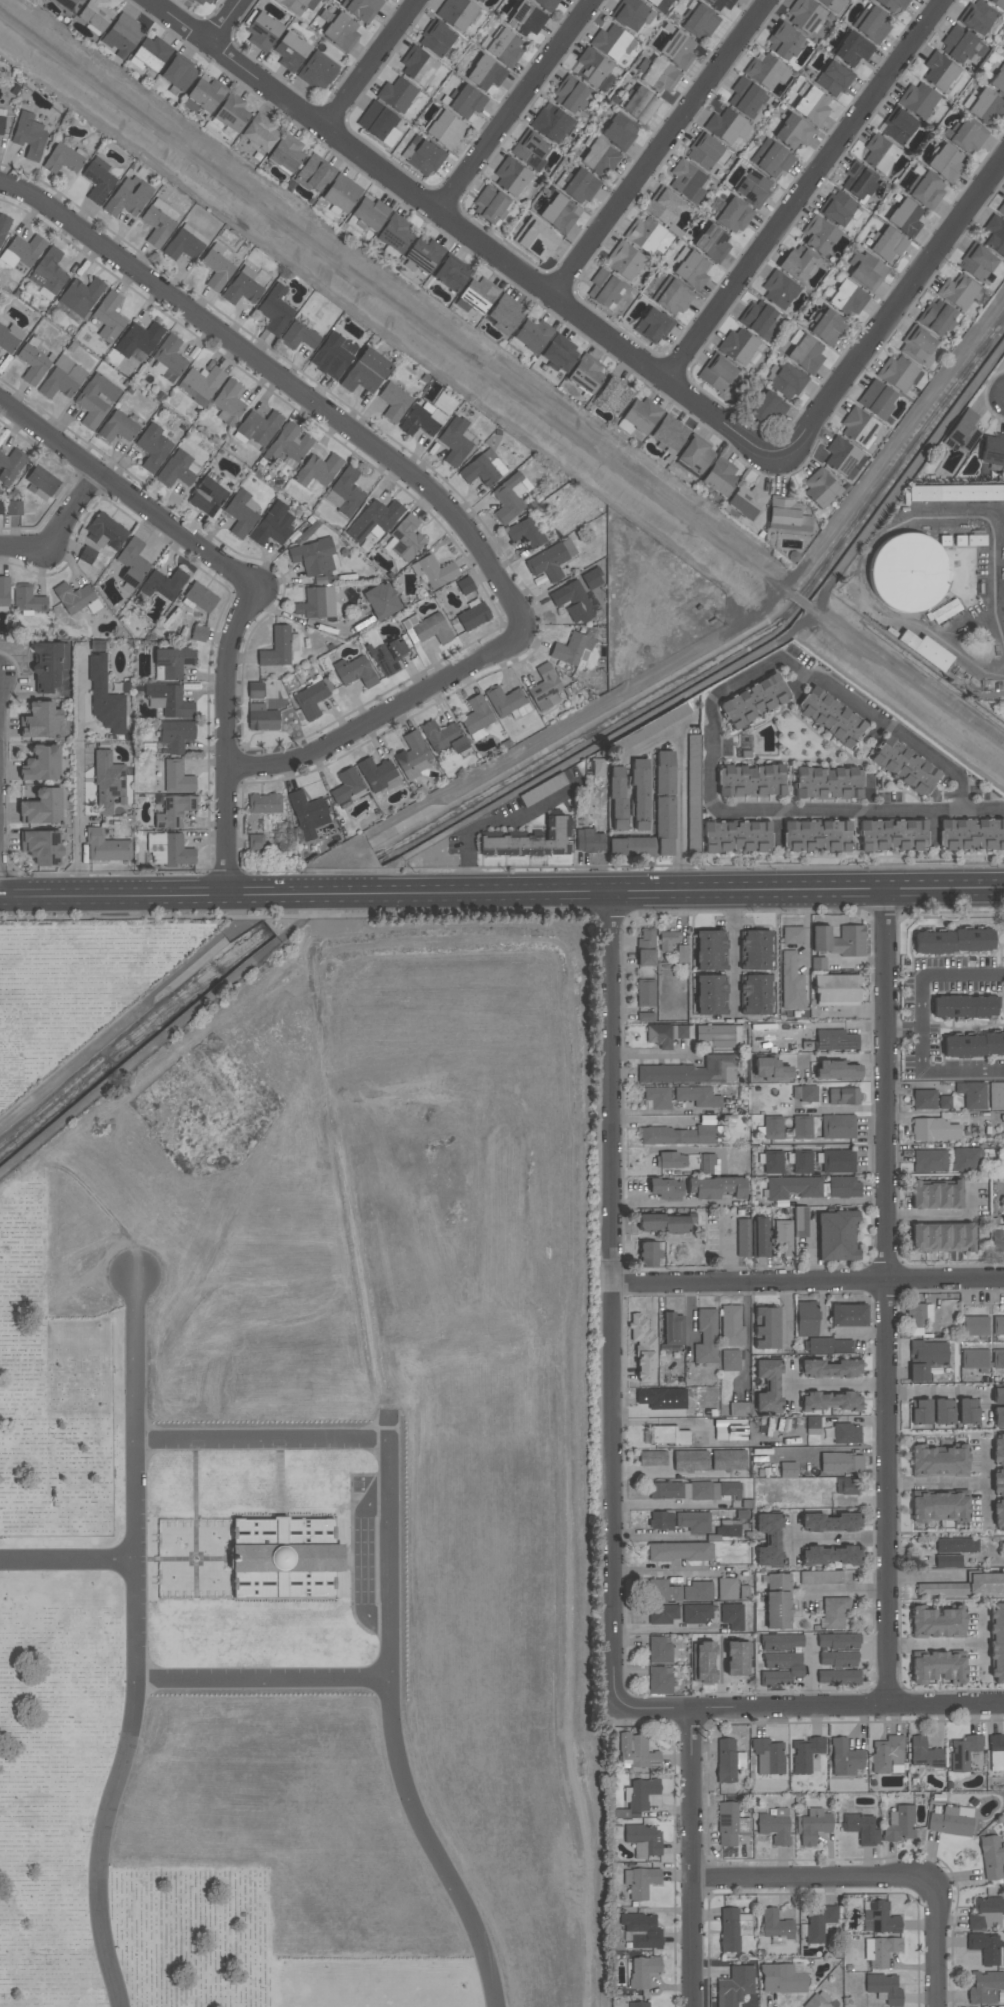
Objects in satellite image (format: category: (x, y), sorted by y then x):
building: (202, 1)
building: (478, 1)
building: (825, 2)
building: (997, 3)
building: (69, 4)
building: (546, 4)
building: (659, 4)
building: (721, 4)
building: (296, 5)
building: (891, 5)
building: (362, 9)
building: (456, 13)
building: (629, 13)
building: (96, 14)
building: (806, 16)
building: (977, 17)
building: (525, 19)
road: (219, 21)
building: (699, 22)
building: (872, 23)
building: (263, 31)
building: (341, 32)
building: (122, 35)
building: (435, 38)
building: (612, 42)
building: (784, 42)
building: (961, 45)
building: (505, 47)
building: (678, 49)
building: (852, 49)
building: (290, 51)
building: (151, 55)
building: (417, 65)
road: (380, 66)
building: (593, 70)
building: (763, 71)
building: (316, 72)
building: (178, 73)
building: (485, 73)
building: (659, 75)
building: (833, 79)
building: (998, 81)
building: (206, 94)
building: (396, 94)
building: (746, 98)
building: (917, 99)
building: (465, 102)
building: (639, 104)
building: (811, 104)
road: (518, 106)
building: (983, 106)
building: (231, 112)
building: (1, 120)
building: (551, 123)
building: (379, 124)
building: (727, 126)
building: (897, 126)
building: (444, 129)
building: (619, 131)
building: (793, 132)
building: (260, 133)
building: (966, 135)
building: (28, 136)
road: (661, 147)
building: (530, 150)
building: (703, 151)
building: (286, 153)
building: (879, 154)
building: (424, 156)
building: (63, 158)
building: (599, 158)
building: (771, 159)
building: (947, 163)
building: (315, 173)
building: (511, 177)
building: (98, 180)
building: (687, 181)
building: (859, 181)
building: (580, 187)
building: (753, 188)
road: (804, 189)
building: (928, 191)
building: (341, 193)
building: (490, 205)
building: (663, 206)
building: (838, 208)
building: (1001, 208)
building: (370, 212)
building: (558, 214)
road: (445, 215)
building: (733, 215)
building: (906, 218)
building: (157, 223)
building: (3, 226)
building: (395, 233)
building: (819, 235)
building: (994, 236)
building: (648, 237)
building: (535, 240)
building: (712, 242)
building: (185, 243)
building: (888, 244)
building: (22, 251)
building: (424, 254)
building: (624, 260)
building: (797, 264)
building: (977, 264)
building: (216, 267)
building: (690, 268)
building: (866, 271)
building: (49, 272)
building: (451, 274)
building: (244, 287)
building: (604, 289)
building: (778, 290)
building: (956, 291)
building: (478, 295)
building: (81, 296)
building: (671, 296)
building: (847, 298)
building: (275, 309)
building: (505, 314)
building: (109, 317)
building: (935, 317)
building: (760, 320)
building: (652, 326)
building: (827, 327)
road: (882, 334)
building: (532, 335)
building: (298, 336)
building: (9, 337)
building: (138, 341)
building: (916, 343)
building: (738, 345)
building: (559, 353)
building: (806, 354)
building: (331, 356)
building: (168, 359)
building: (32, 365)
building: (365, 371)
building: (586, 373)
building: (716, 373)
building: (896, 373)
building: (62, 379)
building: (787, 381)
building: (200, 383)
road: (286, 383)
building: (612, 395)
building: (96, 400)
building: (876, 400)
building: (394, 402)
building: (228, 403)
building: (767, 408)
building: (639, 416)
building: (421, 420)
building: (117, 427)
building: (260, 427)
building: (858, 427)
building: (963, 430)
building: (669, 434)
building: (456, 441)
building: (288, 444)
building: (152, 447)
building: (992, 449)
building: (695, 455)
building: (842, 458)
building: (10, 466)
building: (483, 469)
building: (178, 470)
building: (719, 476)
building: (40, 482)
building: (820, 488)
building: (344, 492)
building: (955, 493)
building: (208, 494)
building: (510, 497)
road: (134, 498)
building: (746, 501)
building: (1, 508)
building: (14, 508)
building: (241, 513)
building: (787, 515)
building: (374, 520)
building: (273, 524)
road: (60, 529)
building: (105, 532)
building: (525, 533)
building: (406, 538)
building: (87, 555)
building: (314, 556)
building: (131, 564)
building: (434, 572)
building: (908, 573)
building: (163, 584)
building: (464, 585)
building: (73, 597)
building: (200, 597)
building: (28, 599)
building: (381, 600)
building: (572, 601)
building: (316, 603)
building: (944, 611)
building: (473, 616)
building: (427, 628)
building: (198, 633)
building: (277, 648)
building: (572, 649)
building: (926, 650)
building: (388, 656)
building: (173, 661)
building: (49, 665)
building: (355, 672)
building: (544, 688)
building: (255, 690)
building: (104, 693)
building: (313, 696)
building: (170, 701)
building: (504, 701)
building: (753, 701)
road: (380, 714)
building: (674, 714)
road: (710, 715)
building: (830, 716)
building: (262, 718)
building: (476, 718)
building: (40, 721)
building: (175, 735)
building: (442, 737)
building: (744, 746)
road: (226, 747)
building: (413, 756)
building: (41, 764)
building: (905, 766)
building: (597, 767)
building: (664, 772)
building: (377, 775)
building: (177, 777)
building: (750, 781)
building: (108, 783)
building: (828, 783)
building: (346, 786)
building: (693, 787)
building: (640, 794)
building: (617, 799)
building: (265, 804)
road: (549, 804)
building: (42, 807)
building: (174, 811)
road: (681, 812)
building: (307, 814)
road: (984, 814)
building: (664, 816)
road: (81, 818)
road: (471, 834)
building: (971, 834)
building: (814, 835)
building: (892, 835)
building: (737, 836)
building: (255, 841)
building: (531, 841)
building: (589, 841)
building: (42, 847)
building: (106, 847)
building: (170, 849)
road: (0, 860)
road: (501, 892)
road: (806, 933)
building: (793, 935)
building: (668, 940)
building: (838, 940)
building: (953, 941)
building: (646, 948)
building: (709, 950)
road: (733, 951)
building: (755, 951)
building: (818, 963)
building: (791, 982)
building: (836, 989)
building: (645, 993)
building: (711, 995)
building: (756, 995)
building: (965, 1006)
road: (132, 1015)
building: (645, 1017)
road: (923, 1024)
building: (665, 1035)
building: (718, 1036)
building: (973, 1045)
road: (648, 1053)
road: (838, 1056)
building: (771, 1070)
building: (691, 1071)
building: (836, 1071)
building: (808, 1093)
building: (972, 1095)
building: (996, 1095)
building: (698, 1096)
building: (843, 1096)
building: (658, 1097)
building: (924, 1099)
building: (944, 1102)
road: (845, 1109)
road: (652, 1122)
building: (838, 1126)
building: (787, 1127)
building: (934, 1129)
building: (679, 1135)
building: (970, 1159)
building: (671, 1160)
building: (838, 1161)
building: (929, 1161)
building: (708, 1162)
building: (773, 1162)
building: (802, 1162)
building: (716, 1187)
building: (843, 1187)
building: (793, 1188)
building: (666, 1189)
building: (936, 1195)
road: (839, 1201)
road: (672, 1205)
road: (938, 1215)
building: (801, 1222)
building: (665, 1223)
building: (997, 1233)
building: (836, 1235)
building: (783, 1236)
building: (759, 1237)
building: (943, 1237)
building: (742, 1238)
road: (726, 1251)
building: (648, 1254)
road: (806, 1282)
road: (887, 1298)
road: (610, 1299)
building: (848, 1315)
building: (919, 1316)
building: (806, 1319)
building: (731, 1325)
building: (975, 1325)
building: (998, 1325)
building: (766, 1328)
building: (673, 1329)
building: (706, 1336)
building: (828, 1345)
building: (643, 1348)
building: (926, 1358)
building: (974, 1358)
building: (998, 1358)
building: (730, 1360)
building: (830, 1369)
road: (838, 1385)
building: (768, 1386)
road: (945, 1392)
building: (998, 1395)
building: (660, 1401)
building: (831, 1401)
building: (738, 1409)
building: (943, 1412)
building: (967, 1412)
building: (921, 1413)
building: (998, 1417)
building: (812, 1425)
building: (728, 1431)
building: (846, 1433)
building: (669, 1435)
building: (652, 1458)
building: (728, 1460)
building: (690, 1461)
building: (940, 1461)
building: (841, 1463)
building: (787, 1470)
road: (640, 1475)
building: (998, 1480)
road: (957, 1485)
building: (847, 1486)
building: (730, 1489)
building: (665, 1490)
building: (704, 1491)
road: (985, 1504)
road: (670, 1505)
building: (940, 1507)
building: (660, 1520)
building: (693, 1521)
building: (830, 1523)
building: (728, 1528)
road: (646, 1536)
building: (768, 1540)
road: (839, 1540)
building: (956, 1545)
building: (680, 1551)
building: (831, 1555)
road: (66, 1558)
building: (286, 1558)
building: (948, 1561)
road: (670, 1569)
road: (923, 1576)
building: (966, 1586)
building: (727, 1589)
building: (663, 1591)
road: (845, 1591)
building: (697, 1592)
building: (777, 1601)
road: (388, 1611)
building: (696, 1613)
building: (834, 1613)
building: (663, 1614)
building: (732, 1616)
building: (938, 1622)
road: (664, 1627)
building: (838, 1641)
building: (782, 1642)
road: (981, 1642)
road: (935, 1643)
building: (997, 1643)
road: (136, 1645)
building: (659, 1650)
building: (737, 1659)
building: (838, 1659)
building: (702, 1663)
building: (781, 1669)
building: (937, 1669)
building: (839, 1677)
road: (263, 1679)
building: (660, 1680)
road: (811, 1706)
building: (636, 1752)
building: (964, 1752)
building: (924, 1753)
building: (996, 1753)
building: (805, 1754)
building: (887, 1755)
building: (768, 1756)
building: (845, 1758)
building: (728, 1760)
building: (641, 1794)
building: (951, 1821)
building: (730, 1824)
building: (899, 1824)
building: (775, 1826)
building: (813, 1826)
building: (861, 1829)
building: (644, 1840)
road: (691, 1857)
building: (991, 1857)
road: (810, 1876)
building: (640, 1882)
building: (986, 1913)
building: (879, 1918)
building: (819, 1923)
building: (775, 1925)
building: (642, 1931)
road: (936, 1944)
building: (985, 1947)
building: (883, 1951)
building: (1003, 1951)
building: (643, 1971)
building: (783, 1978)
building: (735, 1986)
building: (984, 1987)
building: (885, 1988)
building: (818, 2000)
building: (639, 2004)

